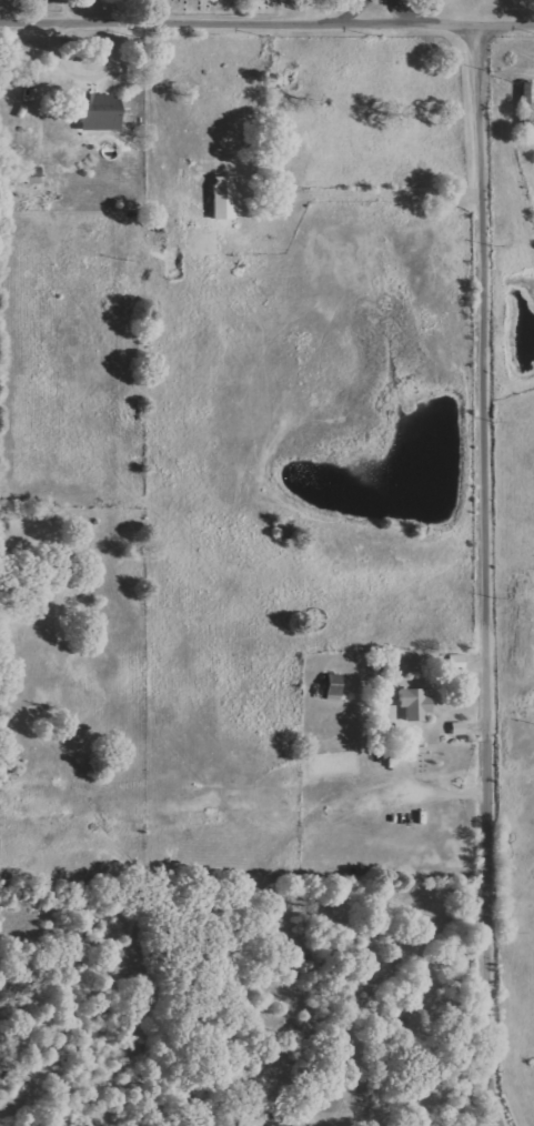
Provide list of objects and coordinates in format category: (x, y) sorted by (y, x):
park: (151, 7)
road: (379, 12)
road: (266, 24)
building: (528, 102)
building: (101, 112)
building: (36, 174)
road: (487, 575)
building: (335, 685)
building: (416, 704)
building: (460, 728)

